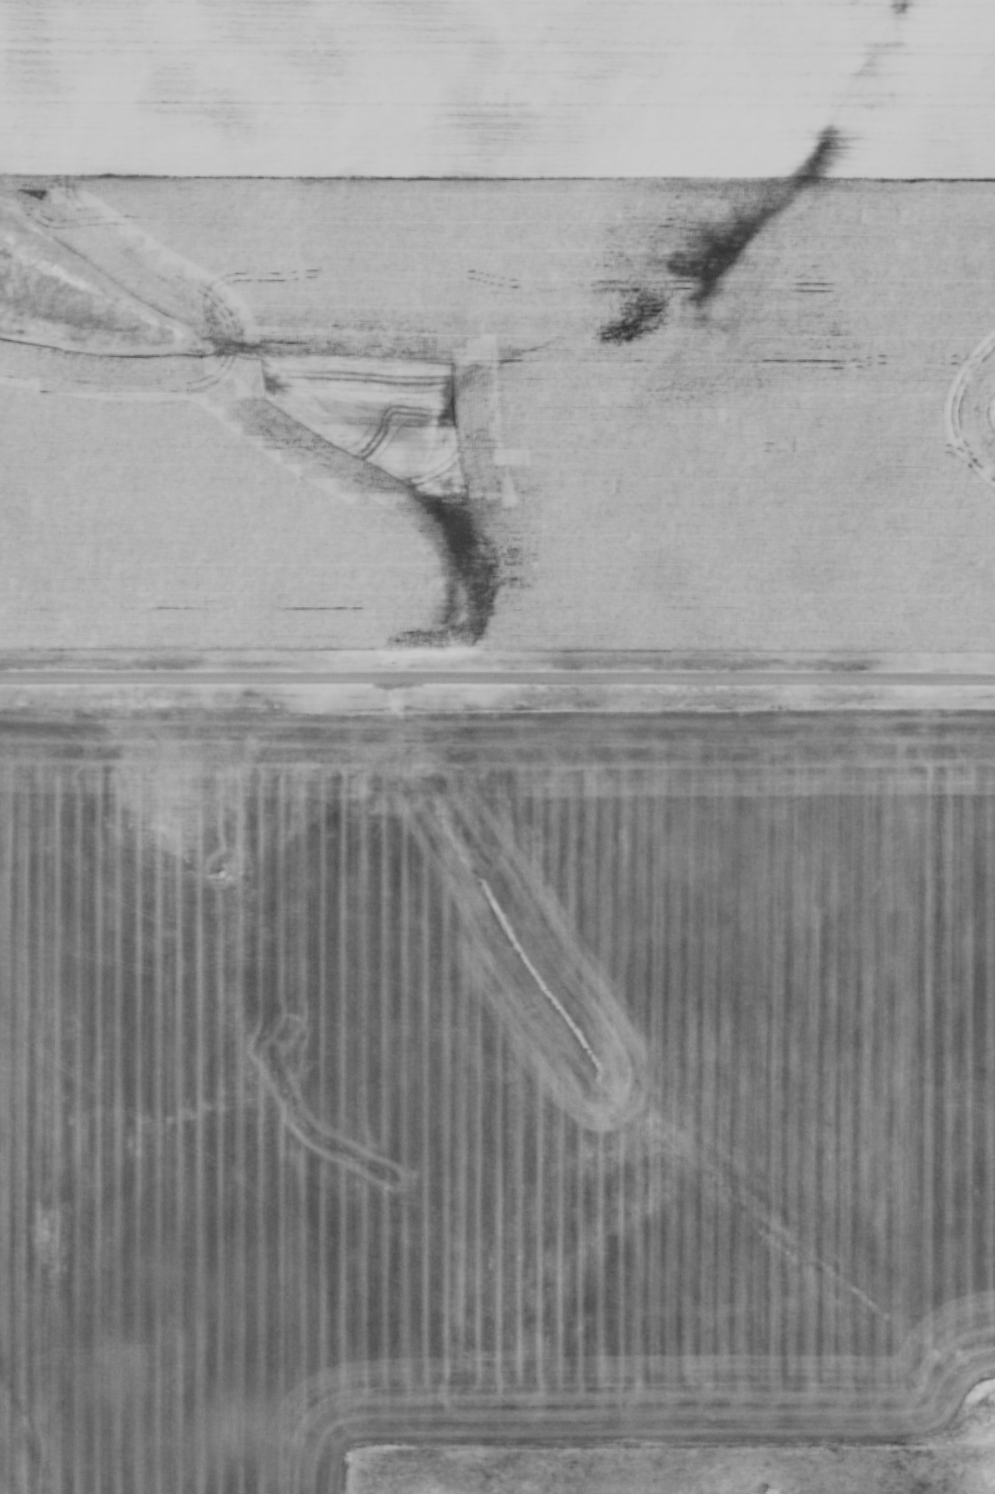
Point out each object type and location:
road: (497, 675)

